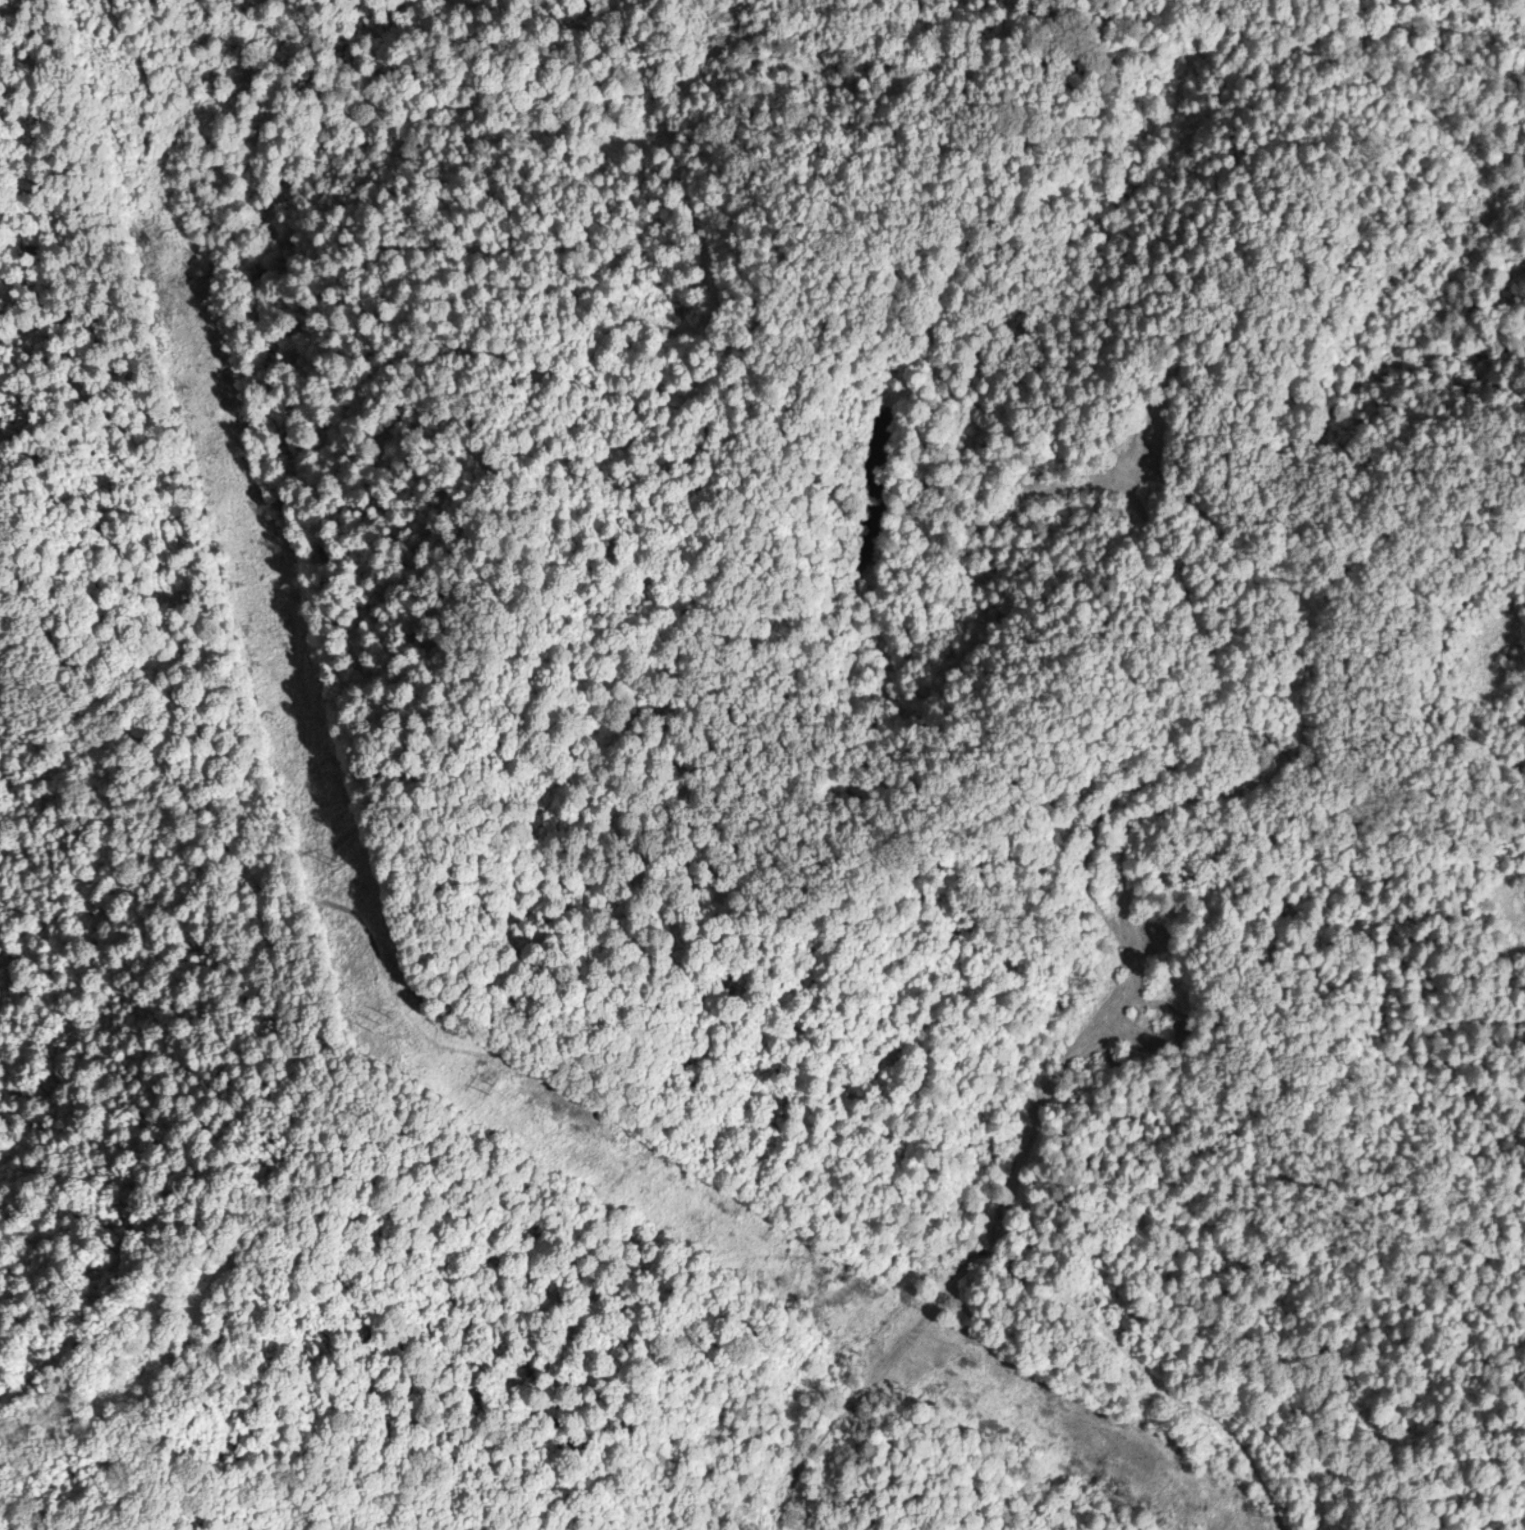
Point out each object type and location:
power tower: (345, 861)
road: (224, 975)
power tower: (382, 1019)
power tower: (497, 1086)
road: (1067, 1308)
road: (5, 1525)

